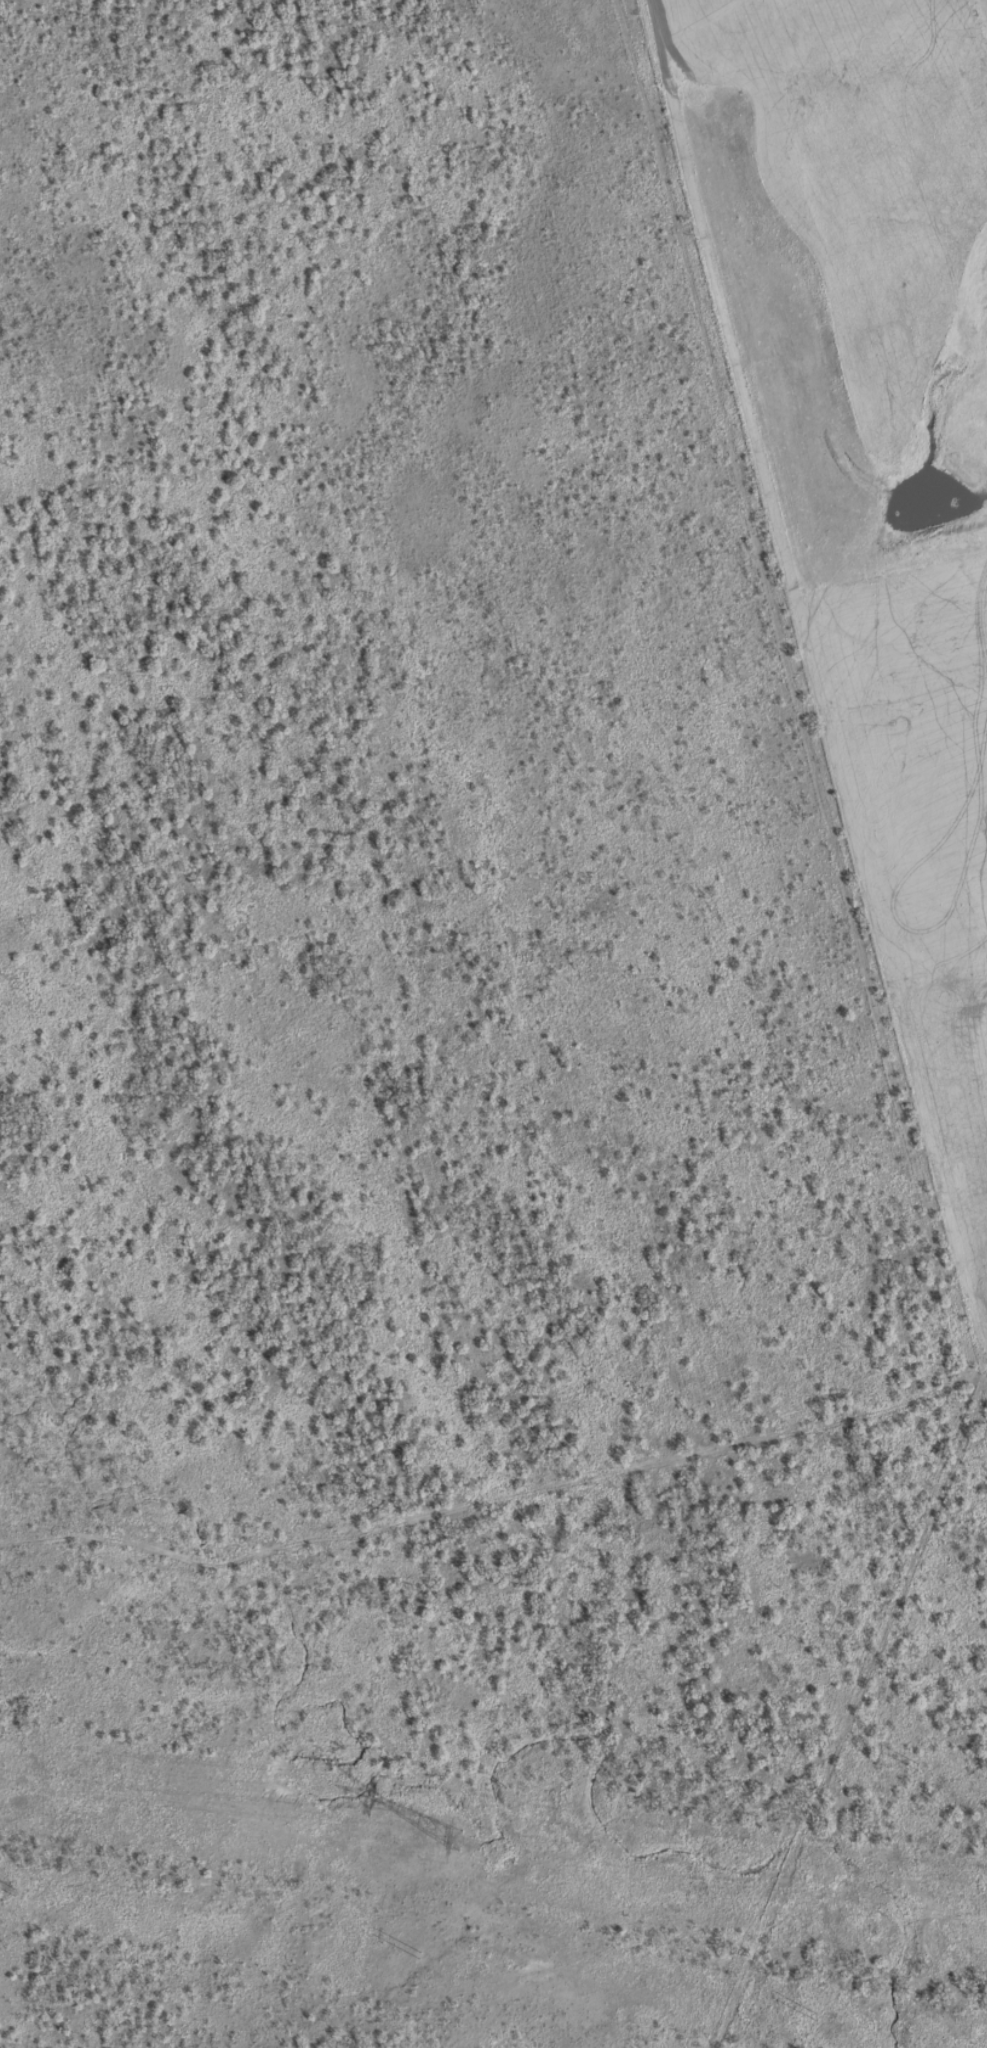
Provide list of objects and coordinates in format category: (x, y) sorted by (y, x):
power tower: (265, 1687)
power tower: (610, 1729)
power tower: (916, 1766)
power tower: (445, 1841)
power tower: (14, 1893)
power tower: (419, 1956)
power tower: (799, 2015)

